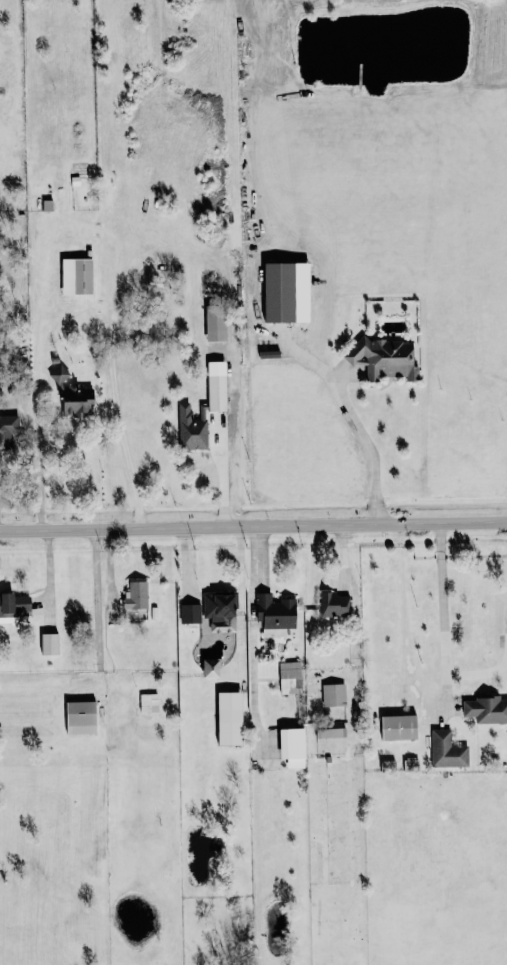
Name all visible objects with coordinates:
building: (76, 277)
building: (286, 292)
building: (216, 324)
building: (384, 359)
building: (216, 386)
building: (71, 393)
road: (120, 425)
building: (9, 428)
road: (361, 445)
road: (20, 451)
road: (34, 469)
road: (224, 478)
road: (253, 527)
road: (355, 595)
building: (136, 596)
road: (97, 600)
building: (13, 604)
building: (334, 604)
building: (220, 611)
building: (190, 614)
building: (275, 615)
road: (255, 616)
road: (443, 631)
building: (50, 644)
building: (210, 669)
building: (290, 678)
road: (98, 679)
building: (333, 695)
building: (148, 703)
building: (485, 710)
building: (81, 717)
building: (229, 718)
building: (398, 727)
building: (330, 733)
building: (292, 747)
building: (447, 750)

